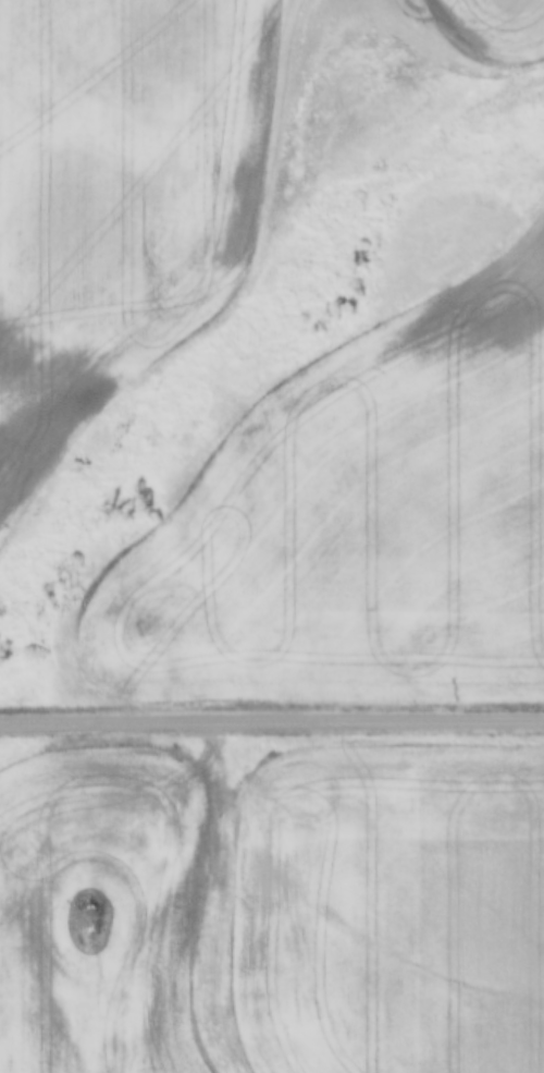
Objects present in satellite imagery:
road: (272, 716)

